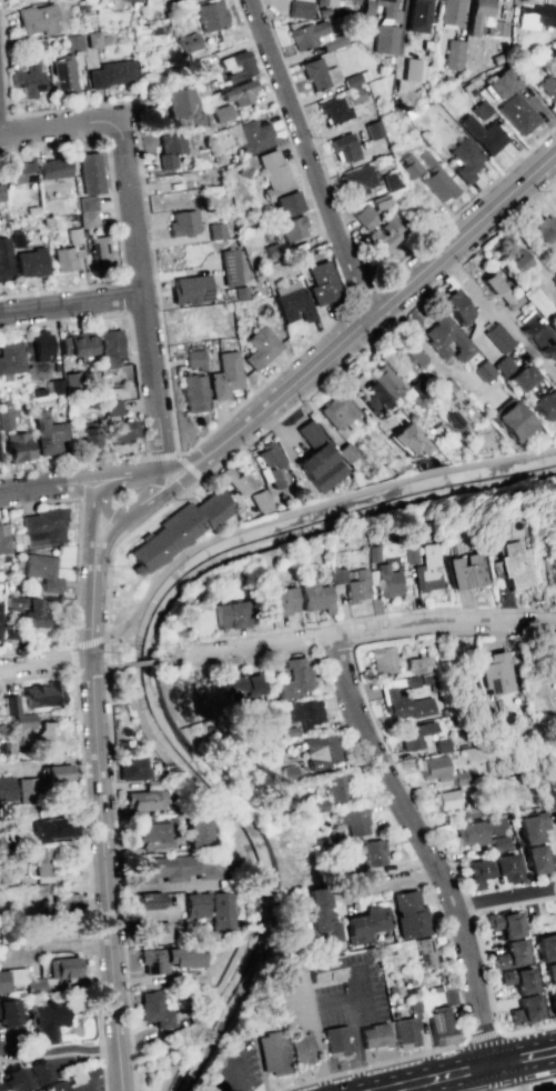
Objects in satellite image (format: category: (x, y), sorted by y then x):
building: (132, 0)
building: (353, 0)
building: (319, 2)
building: (299, 8)
building: (387, 8)
building: (449, 12)
building: (210, 16)
building: (417, 16)
building: (535, 16)
building: (38, 18)
building: (484, 19)
building: (312, 36)
building: (92, 39)
building: (384, 39)
building: (72, 42)
building: (188, 42)
building: (453, 54)
building: (235, 66)
building: (194, 70)
building: (412, 70)
building: (111, 73)
building: (319, 73)
building: (62, 74)
building: (28, 79)
building: (501, 83)
building: (549, 89)
building: (237, 92)
building: (181, 108)
building: (332, 109)
building: (479, 109)
building: (221, 113)
building: (517, 113)
road: (3, 117)
road: (60, 128)
building: (373, 129)
building: (482, 134)
building: (253, 136)
building: (169, 148)
building: (343, 148)
road: (307, 159)
building: (464, 159)
building: (408, 164)
building: (52, 168)
building: (272, 171)
building: (18, 172)
building: (89, 172)
building: (360, 179)
building: (392, 180)
building: (437, 184)
building: (85, 203)
building: (284, 203)
building: (364, 213)
road: (114, 216)
building: (87, 219)
building: (182, 222)
building: (292, 228)
building: (214, 230)
building: (546, 233)
building: (385, 234)
building: (100, 251)
building: (3, 259)
building: (62, 259)
building: (29, 262)
road: (357, 262)
building: (518, 264)
building: (229, 267)
building: (322, 282)
building: (189, 289)
building: (499, 289)
road: (142, 294)
road: (358, 297)
building: (292, 301)
building: (537, 302)
road: (71, 304)
building: (455, 307)
road: (374, 311)
road: (497, 314)
building: (538, 336)
building: (497, 337)
building: (445, 338)
building: (74, 343)
building: (41, 346)
building: (108, 347)
building: (260, 347)
building: (10, 359)
building: (193, 359)
building: (410, 359)
building: (503, 364)
building: (224, 374)
building: (519, 377)
building: (386, 381)
building: (63, 383)
road: (302, 390)
building: (193, 392)
road: (137, 393)
building: (372, 397)
building: (545, 404)
building: (111, 408)
building: (338, 414)
building: (4, 416)
building: (513, 421)
building: (121, 431)
building: (48, 433)
building: (87, 437)
road: (173, 439)
building: (404, 439)
building: (17, 447)
road: (176, 454)
building: (314, 459)
road: (174, 470)
road: (125, 477)
building: (232, 478)
road: (168, 486)
road: (153, 487)
road: (46, 488)
building: (255, 501)
road: (105, 511)
road: (135, 511)
road: (312, 511)
building: (43, 527)
road: (90, 527)
road: (78, 531)
building: (178, 532)
building: (3, 538)
road: (105, 544)
park: (175, 565)
building: (514, 565)
building: (429, 569)
building: (42, 571)
building: (466, 572)
building: (387, 581)
building: (352, 583)
building: (314, 597)
building: (280, 600)
road: (90, 607)
building: (0, 608)
building: (28, 609)
building: (229, 614)
road: (375, 614)
road: (388, 625)
road: (103, 637)
road: (95, 639)
road: (81, 643)
road: (72, 645)
road: (36, 650)
road: (103, 652)
road: (198, 657)
road: (74, 658)
road: (60, 659)
building: (382, 659)
road: (17, 664)
road: (138, 664)
building: (421, 664)
road: (103, 668)
road: (89, 669)
road: (74, 670)
road: (104, 670)
building: (495, 674)
building: (295, 678)
building: (240, 683)
building: (41, 694)
building: (405, 698)
building: (9, 704)
building: (303, 711)
building: (22, 721)
building: (291, 731)
building: (414, 733)
building: (48, 738)
building: (443, 744)
building: (321, 750)
building: (129, 768)
road: (396, 770)
building: (441, 770)
building: (289, 772)
building: (57, 773)
building: (27, 788)
building: (336, 788)
building: (6, 790)
building: (447, 799)
building: (140, 800)
building: (316, 804)
building: (472, 811)
building: (353, 820)
building: (532, 825)
building: (53, 828)
road: (84, 829)
building: (193, 831)
building: (483, 833)
building: (152, 834)
road: (422, 847)
building: (370, 851)
building: (539, 859)
building: (40, 862)
road: (119, 863)
road: (103, 865)
building: (174, 868)
road: (243, 869)
building: (492, 869)
road: (504, 899)
building: (146, 900)
building: (65, 903)
road: (513, 903)
building: (209, 909)
building: (408, 914)
building: (320, 915)
building: (503, 922)
building: (364, 924)
building: (151, 932)
building: (545, 945)
building: (425, 952)
building: (509, 953)
building: (166, 958)
building: (63, 967)
building: (325, 973)
building: (282, 974)
building: (549, 974)
building: (11, 978)
building: (517, 979)
parking lot: (338, 995)
building: (447, 997)
building: (552, 1001)
building: (524, 1009)
building: (153, 1010)
road: (311, 1011)
building: (8, 1013)
building: (44, 1021)
building: (439, 1027)
building: (405, 1031)
building: (373, 1035)
road: (482, 1035)
building: (336, 1042)
building: (300, 1045)
road: (353, 1045)
road: (520, 1048)
building: (272, 1051)
road: (58, 1052)
road: (370, 1065)
road: (523, 1068)
parking lot: (237, 1069)
building: (38, 1071)
road: (134, 1073)
road: (100, 1075)
road: (103, 1075)
road: (239, 1075)
road: (438, 1078)
building: (12, 1079)
road: (492, 1079)
road: (522, 1080)
road: (528, 1084)
road: (431, 1085)
building: (57, 1087)
parking lot: (88, 1088)
building: (549, 1089)

